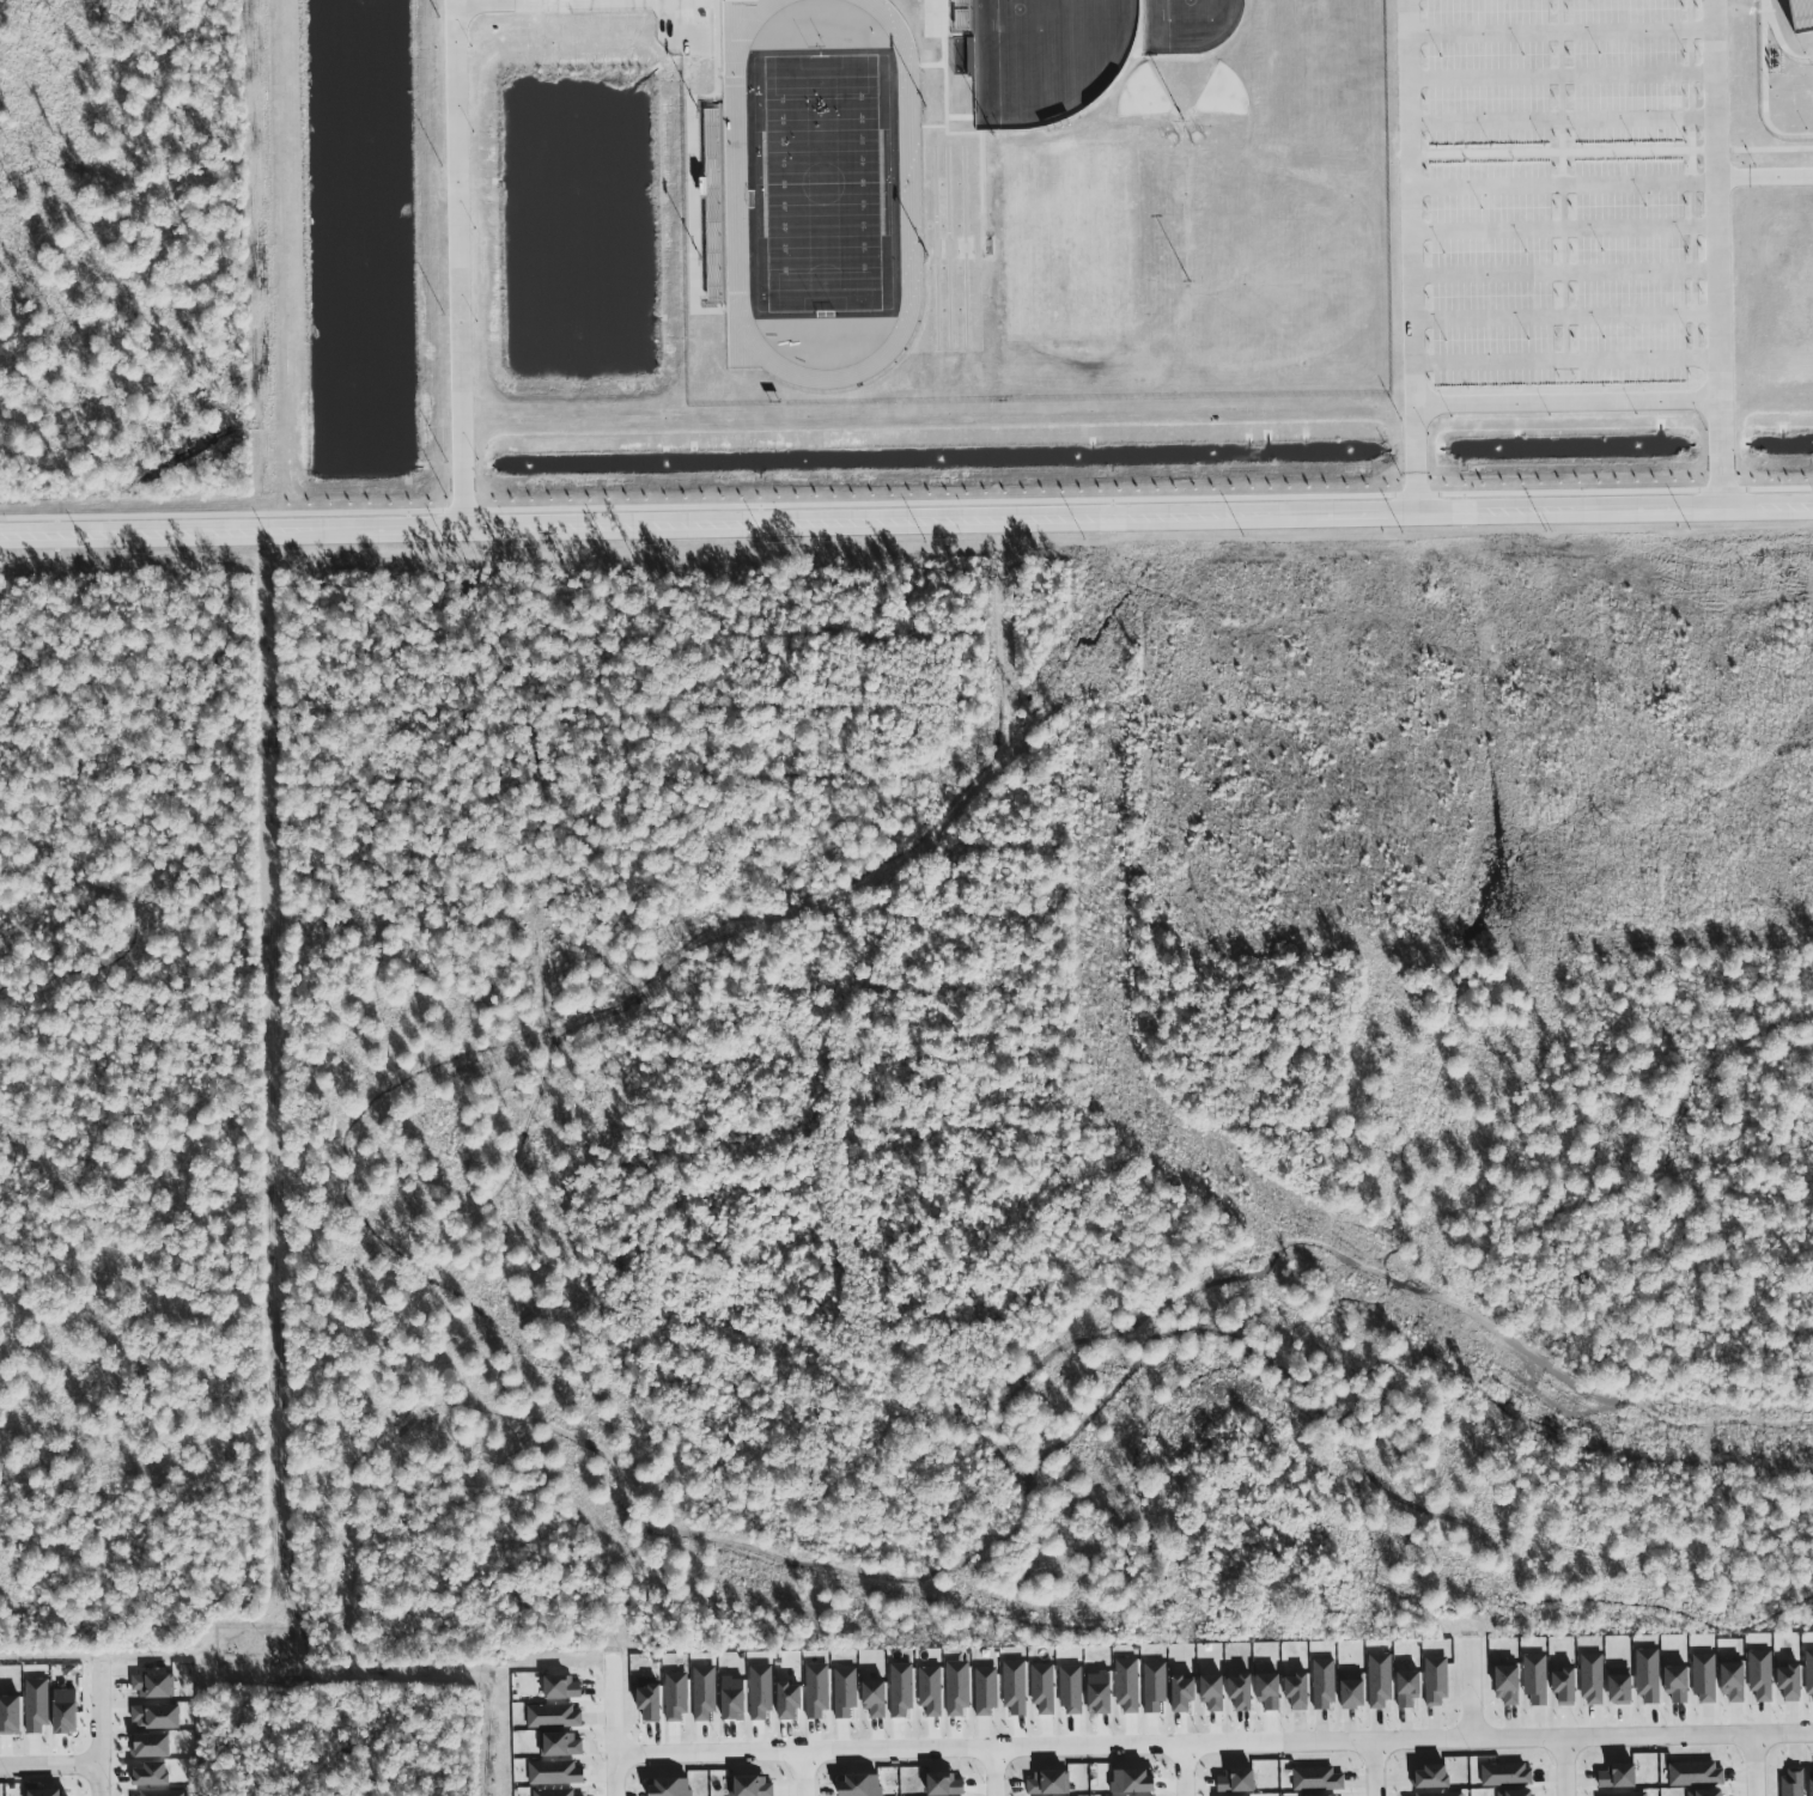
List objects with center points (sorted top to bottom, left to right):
building: (1805, 14)
stadium: (1785, 68)
road: (1765, 178)
park: (822, 182)
parking lot: (1555, 191)
road: (1411, 202)
park: (1070, 242)
road: (1718, 255)
road: (457, 264)
road: (906, 523)
building: (1648, 1675)
building: (1760, 1675)
building: (1704, 1678)
building: (1535, 1679)
building: (1592, 1679)
building: (1380, 1681)
building: (1436, 1681)
road: (1473, 1681)
building: (1791, 1681)
building: (1678, 1684)
building: (1734, 1684)
building: (1127, 1685)
building: (1324, 1685)
building: (1508, 1685)
building: (153, 1686)
building: (1620, 1686)
building: (561, 1687)
building: (1015, 1687)
building: (1155, 1687)
building: (1565, 1687)
building: (1042, 1688)
building: (1409, 1688)
building: (957, 1690)
building: (1071, 1690)
building: (817, 1691)
building: (901, 1691)
building: (930, 1691)
building: (986, 1691)
building: (1270, 1691)
building: (1298, 1691)
building: (1353, 1691)
building: (704, 1692)
building: (845, 1692)
building: (1213, 1692)
building: (1242, 1692)
building: (760, 1693)
building: (1100, 1693)
building: (1185, 1694)
building: (675, 1697)
building: (734, 1699)
building: (875, 1699)
building: (790, 1700)
building: (650, 1703)
building: (36, 1706)
building: (65, 1711)
building: (11, 1715)
building: (553, 1716)
building: (157, 1717)
road: (613, 1724)
road: (103, 1737)
building: (560, 1745)
road: (1213, 1745)
building: (152, 1746)
road: (1754, 1765)
road: (1564, 1766)
road: (1375, 1768)
road: (1184, 1771)
road: (991, 1772)
building: (554, 1773)
road: (801, 1773)
building: (152, 1774)
building: (1695, 1774)
building: (1507, 1776)
building: (1431, 1777)
building: (1619, 1777)
road: (51, 1778)
building: (1316, 1779)
building: (1133, 1782)
building: (1237, 1782)
building: (1794, 1782)
building: (1812, 1782)
building: (1048, 1784)
building: (944, 1785)
building: (752, 1786)
building: (670, 1788)
building: (163, 1792)
building: (553, 1792)
building: (1705, 1792)
building: (49, 1794)
building: (1516, 1794)
building: (1628, 1794)
building: (1336, 1795)
building: (1437, 1795)

